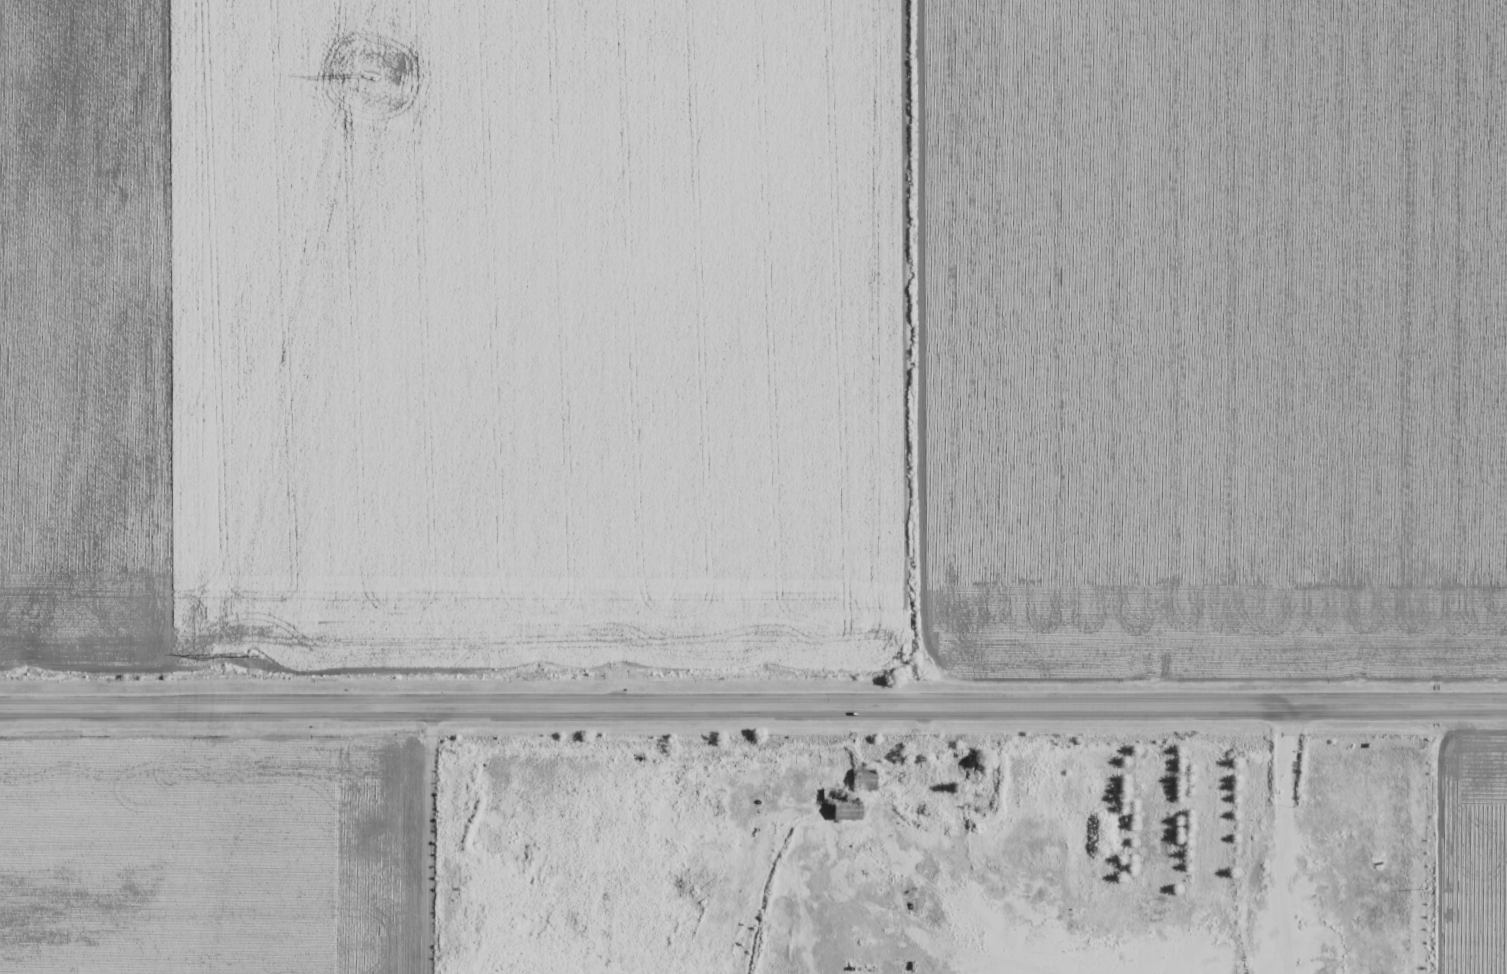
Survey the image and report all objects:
power tower: (370, 75)
power tower: (251, 653)
road: (753, 708)
building: (960, 765)
building: (846, 813)
road: (437, 841)

